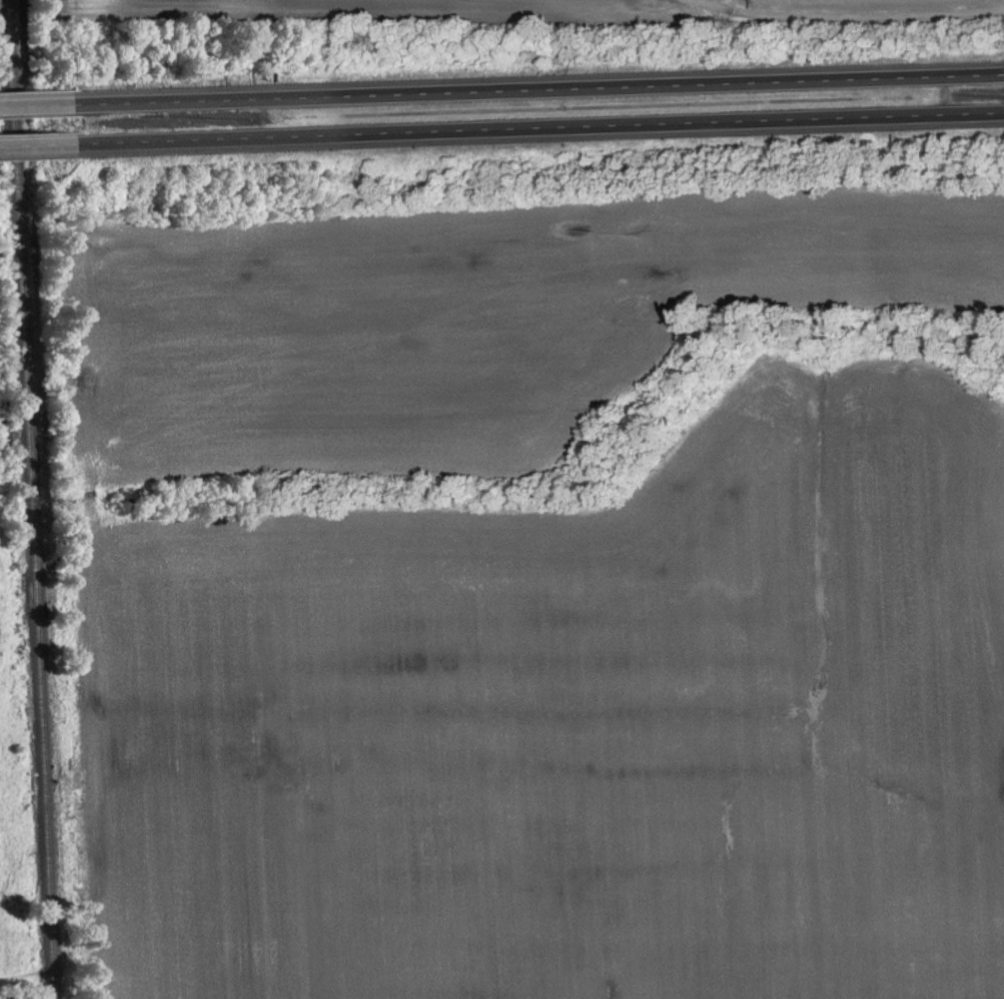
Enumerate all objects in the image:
road: (541, 87)
road: (39, 105)
road: (542, 129)
road: (40, 144)
railway: (32, 499)

